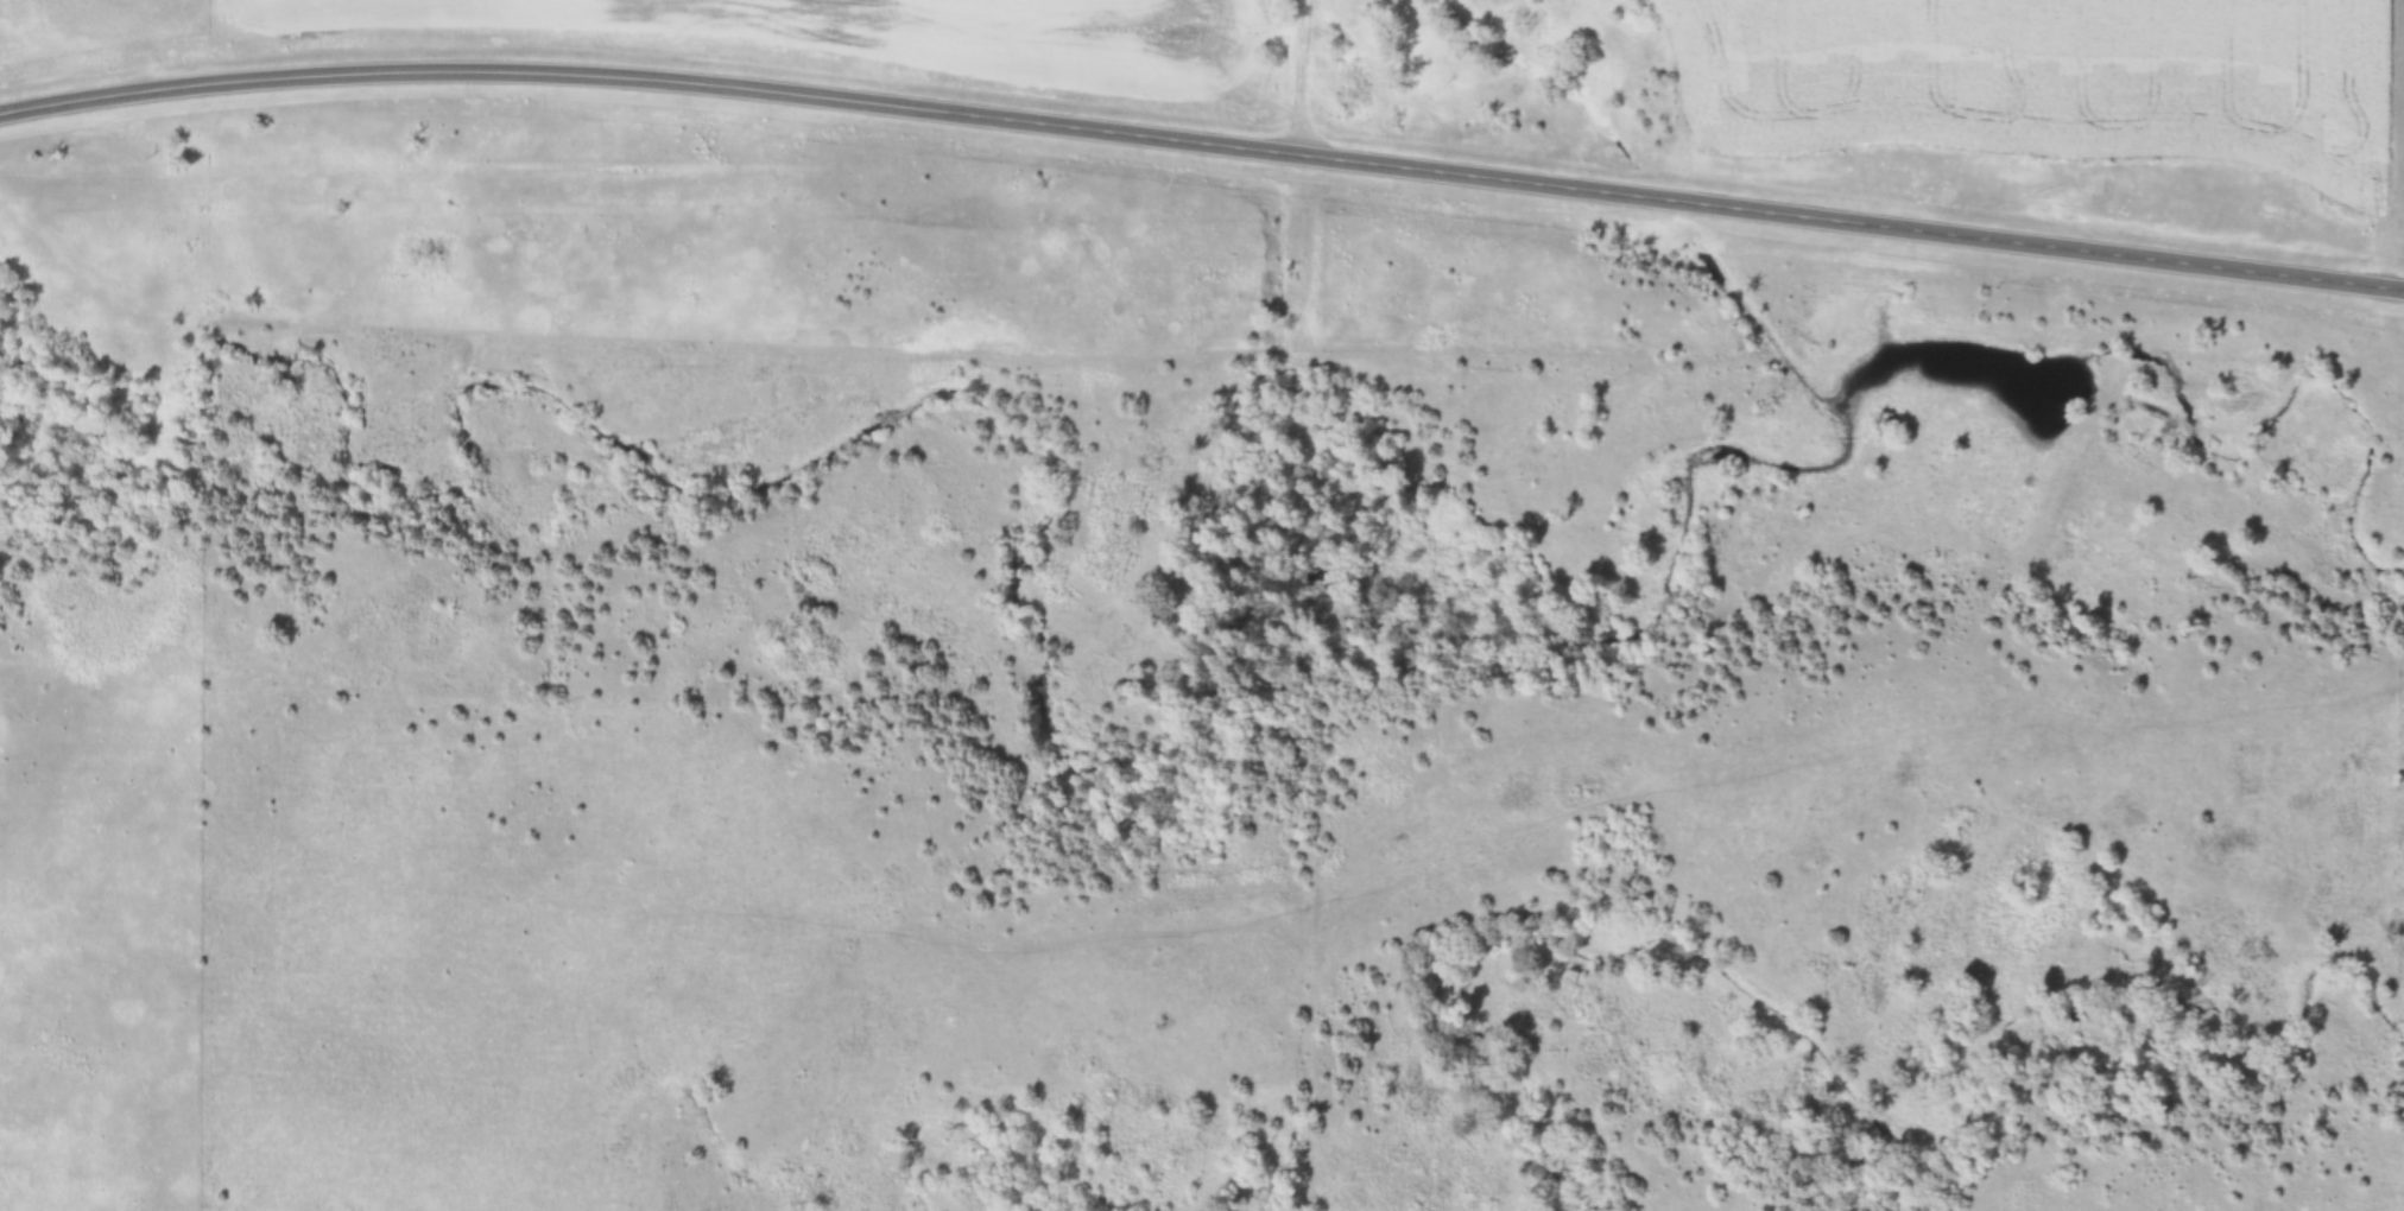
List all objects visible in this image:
road: (1304, 77)
road: (1203, 145)

